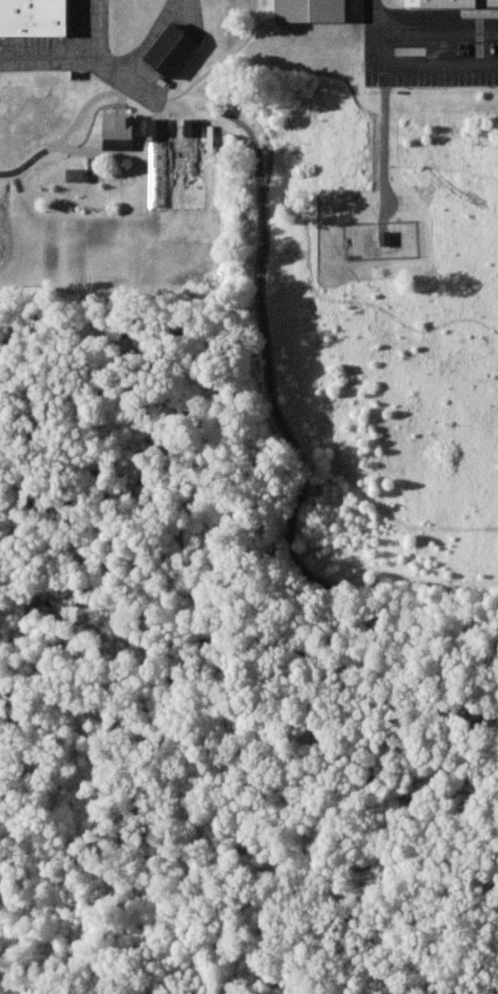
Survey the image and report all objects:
building: (452, 3)
building: (313, 11)
building: (34, 18)
road: (421, 34)
building: (173, 52)
road: (107, 64)
road: (425, 66)
building: (193, 128)
building: (158, 129)
building: (119, 132)
building: (77, 176)
building: (386, 239)

